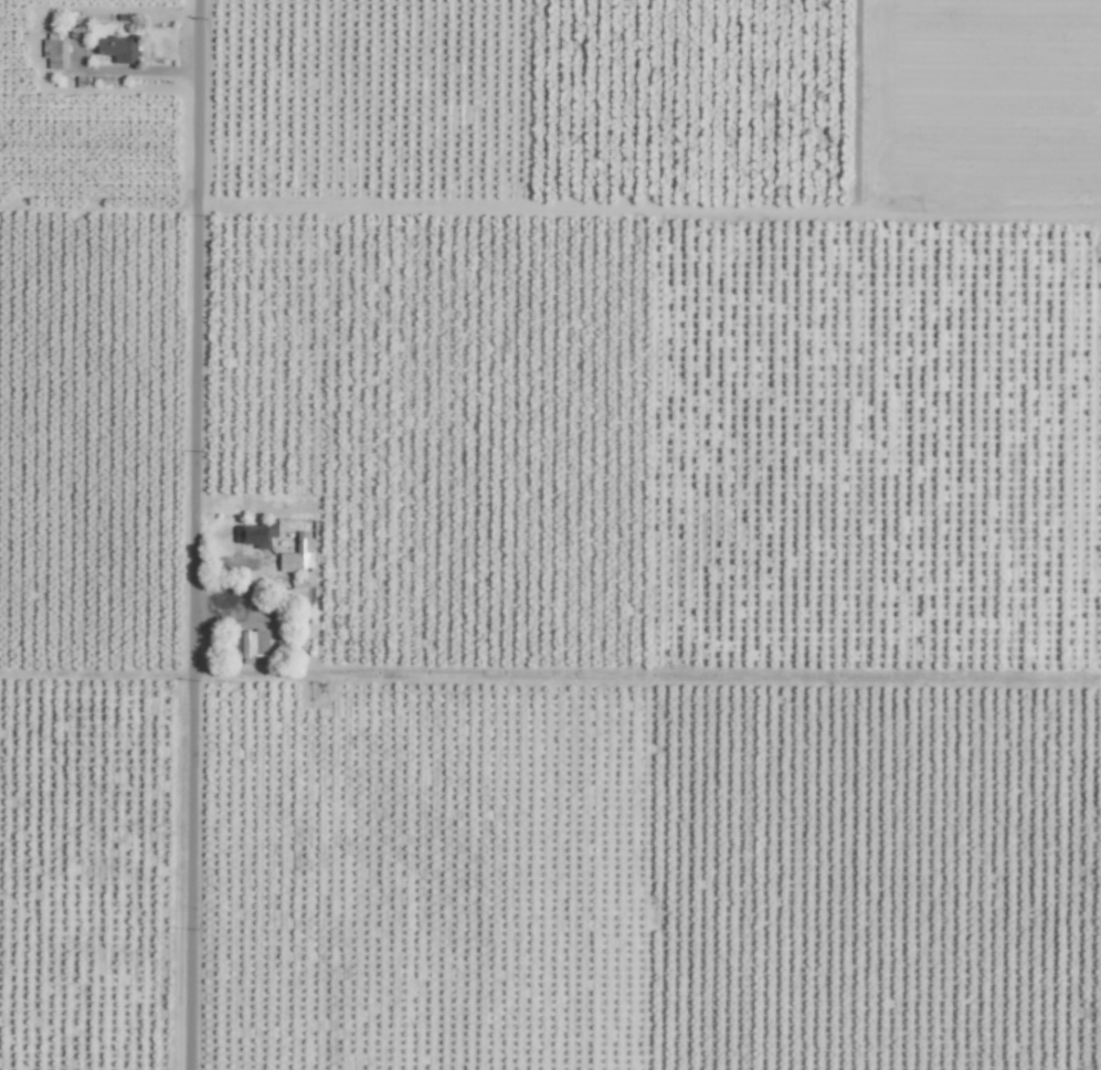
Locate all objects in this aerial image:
road: (33, 45)
building: (118, 49)
building: (55, 51)
road: (193, 534)
building: (256, 534)
building: (298, 553)
road: (279, 639)
building: (254, 643)

